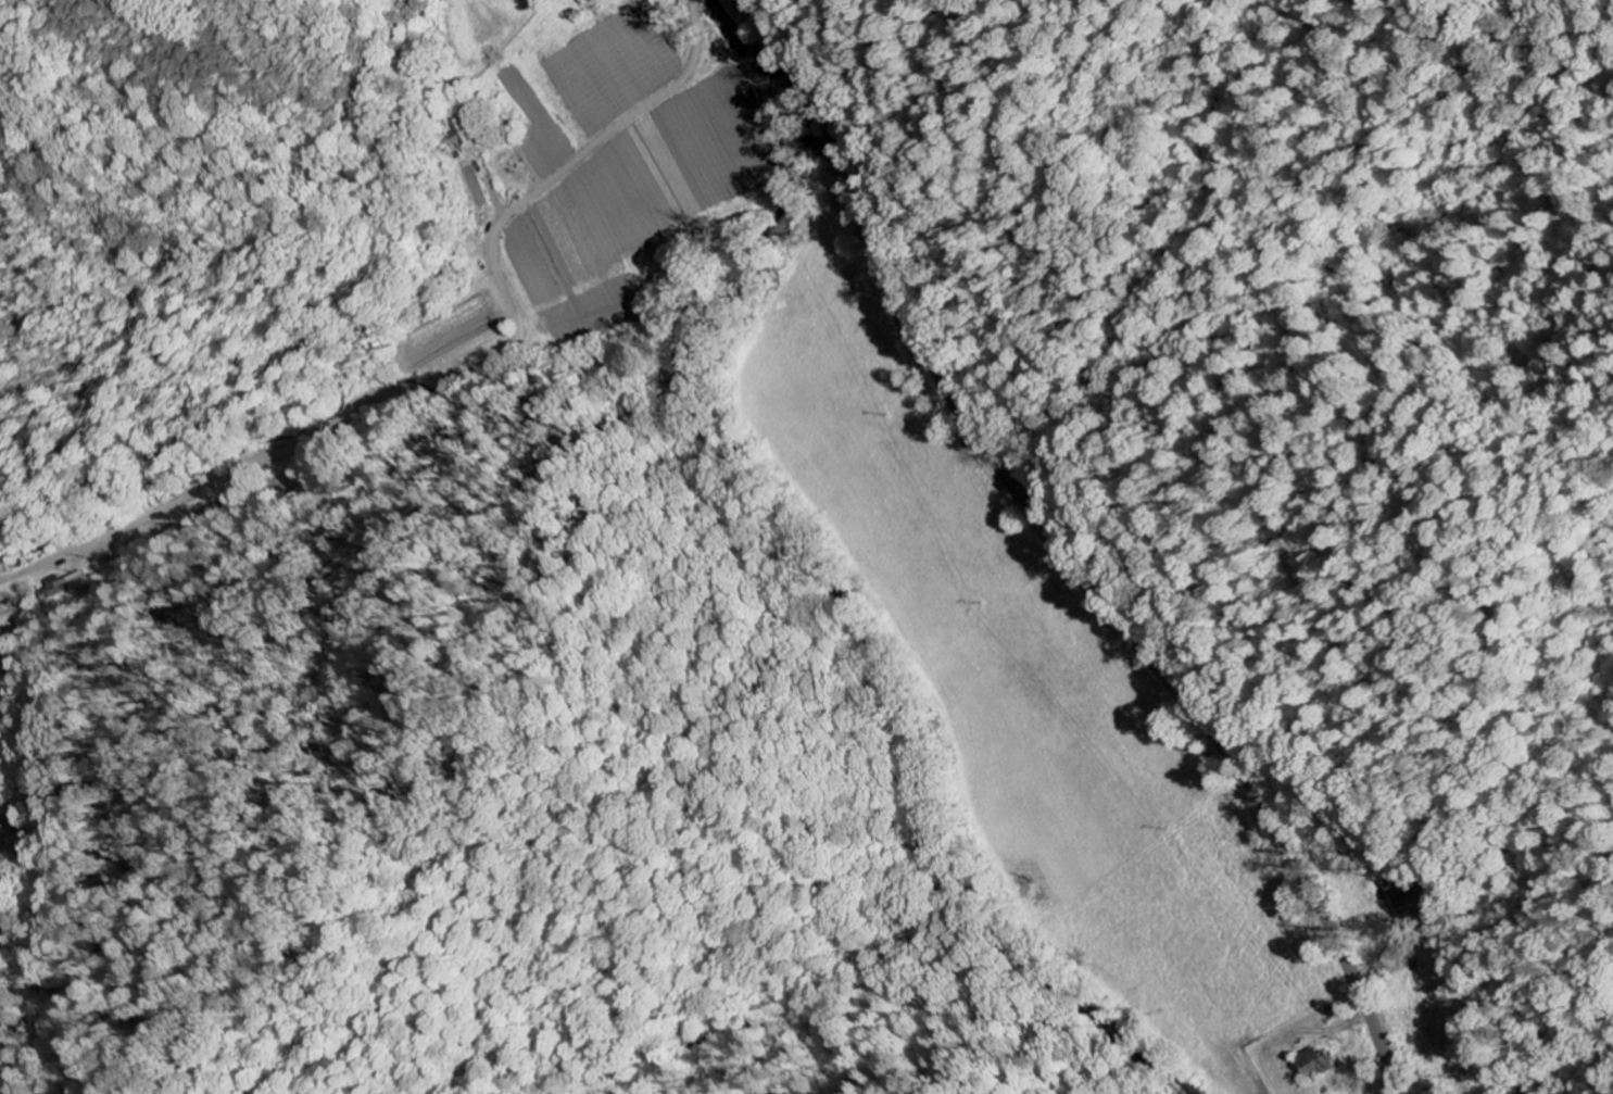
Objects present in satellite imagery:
road: (467, 377)
road: (1075, 552)
building: (1323, 1065)

